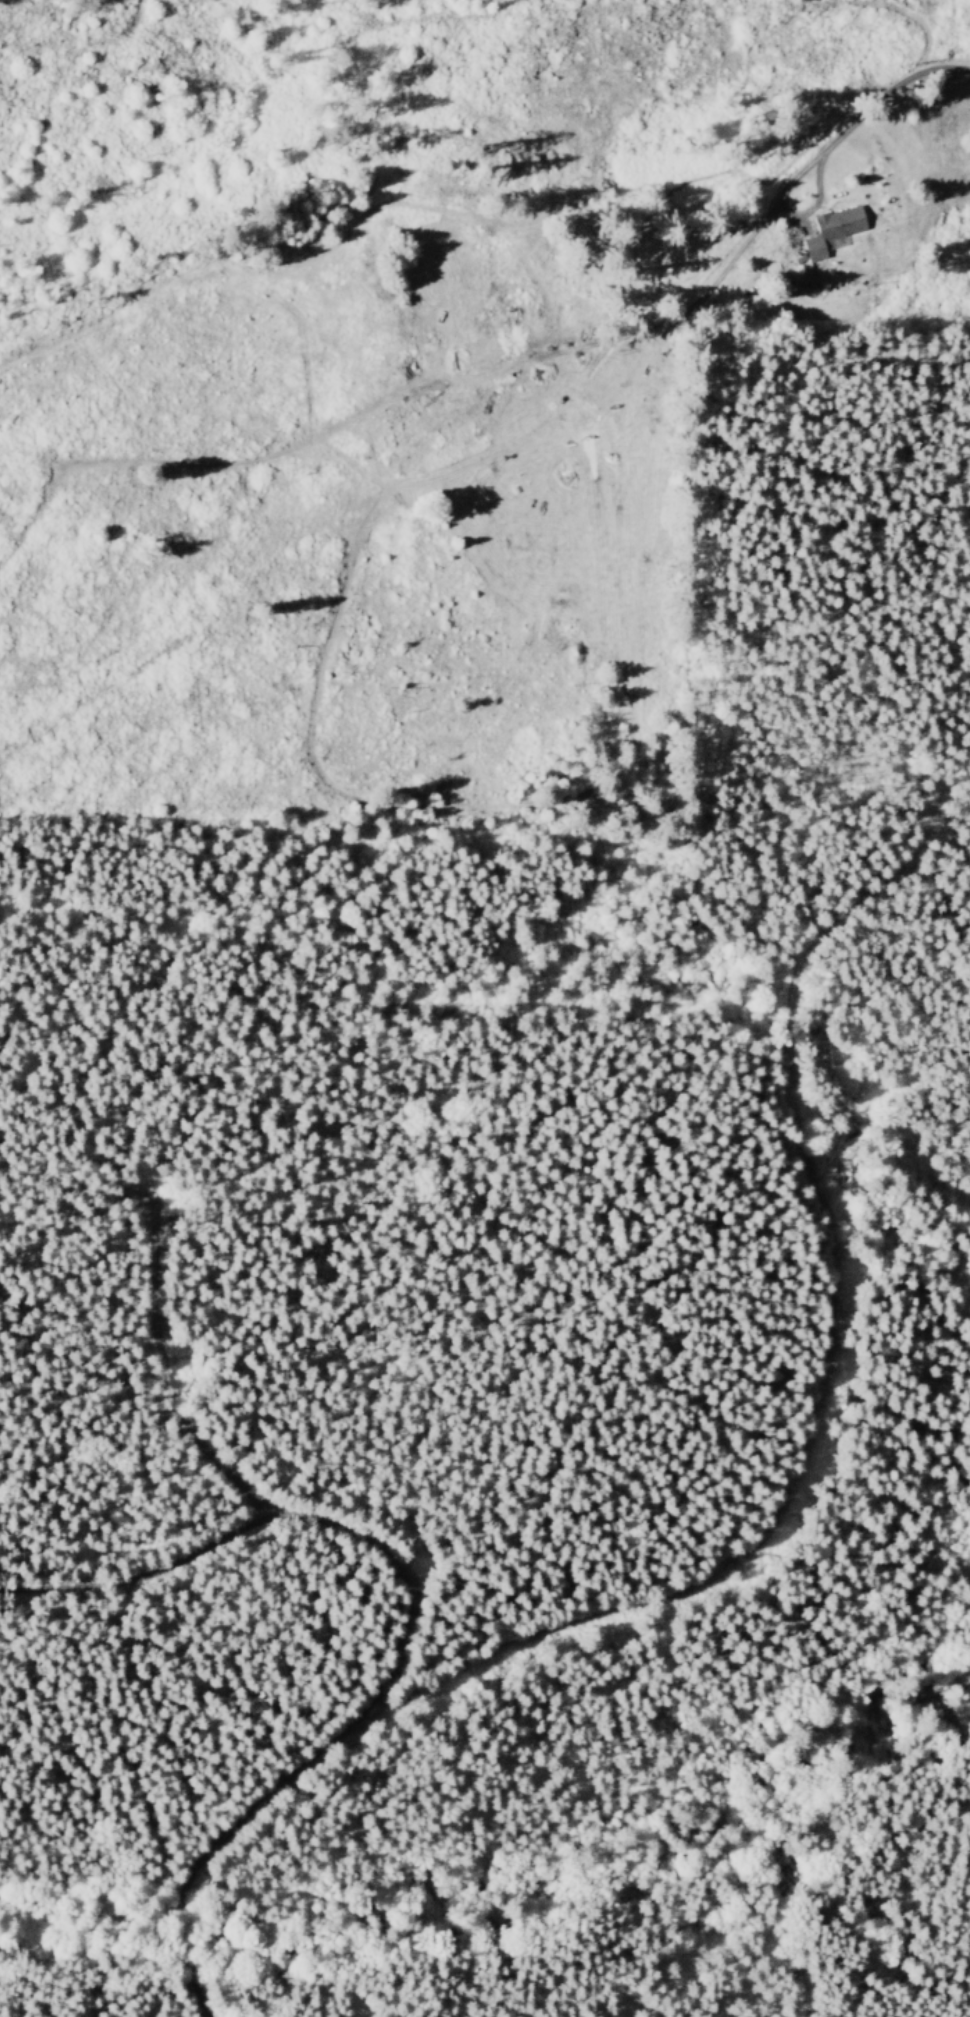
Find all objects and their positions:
building: (828, 230)

